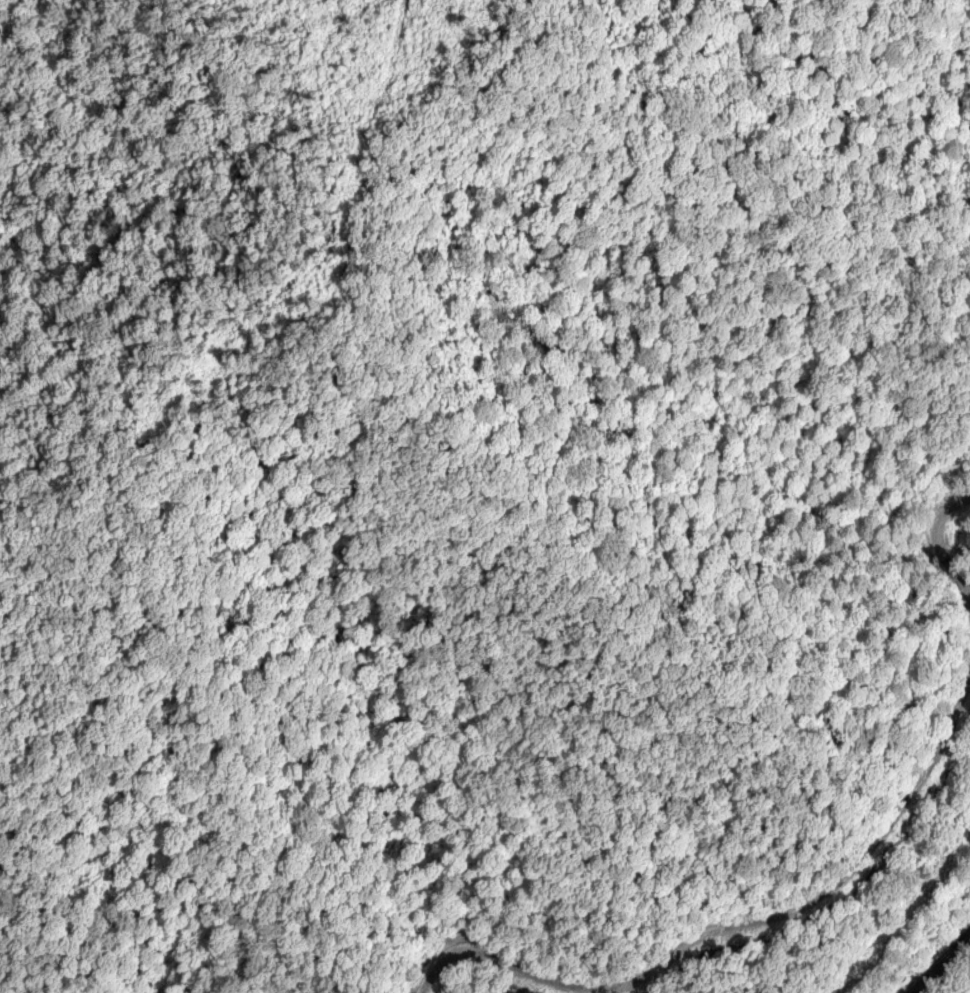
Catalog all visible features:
road: (944, 552)
road: (736, 924)
road: (948, 971)

